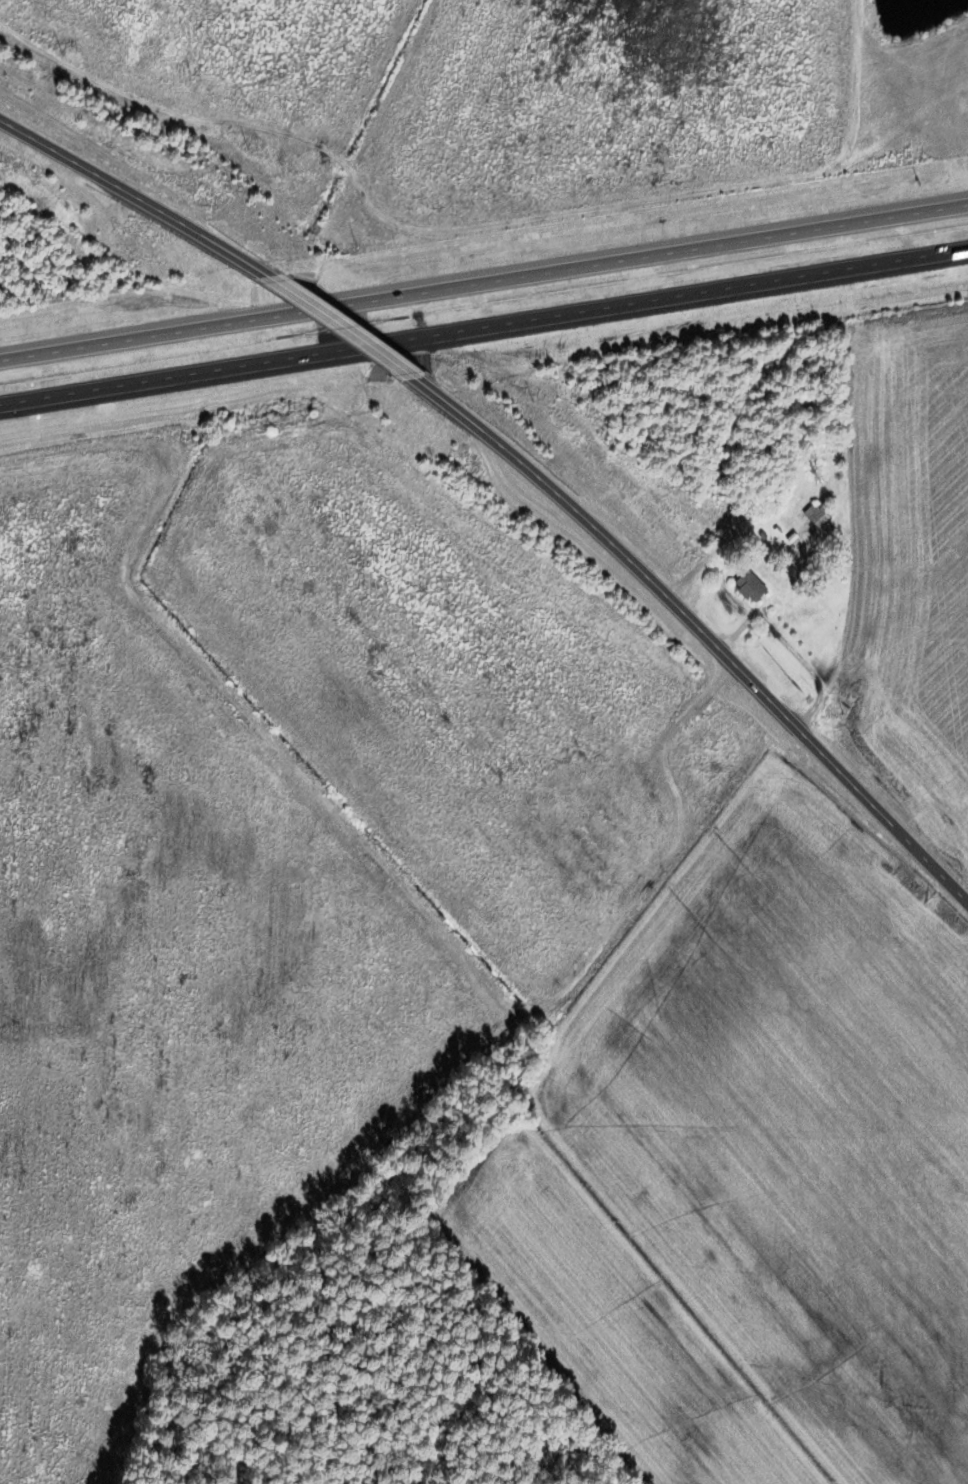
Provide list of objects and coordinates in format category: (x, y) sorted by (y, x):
road: (134, 195)
road: (483, 270)
road: (340, 325)
road: (483, 330)
building: (807, 525)
building: (746, 587)
road: (700, 628)
road: (421, 919)

